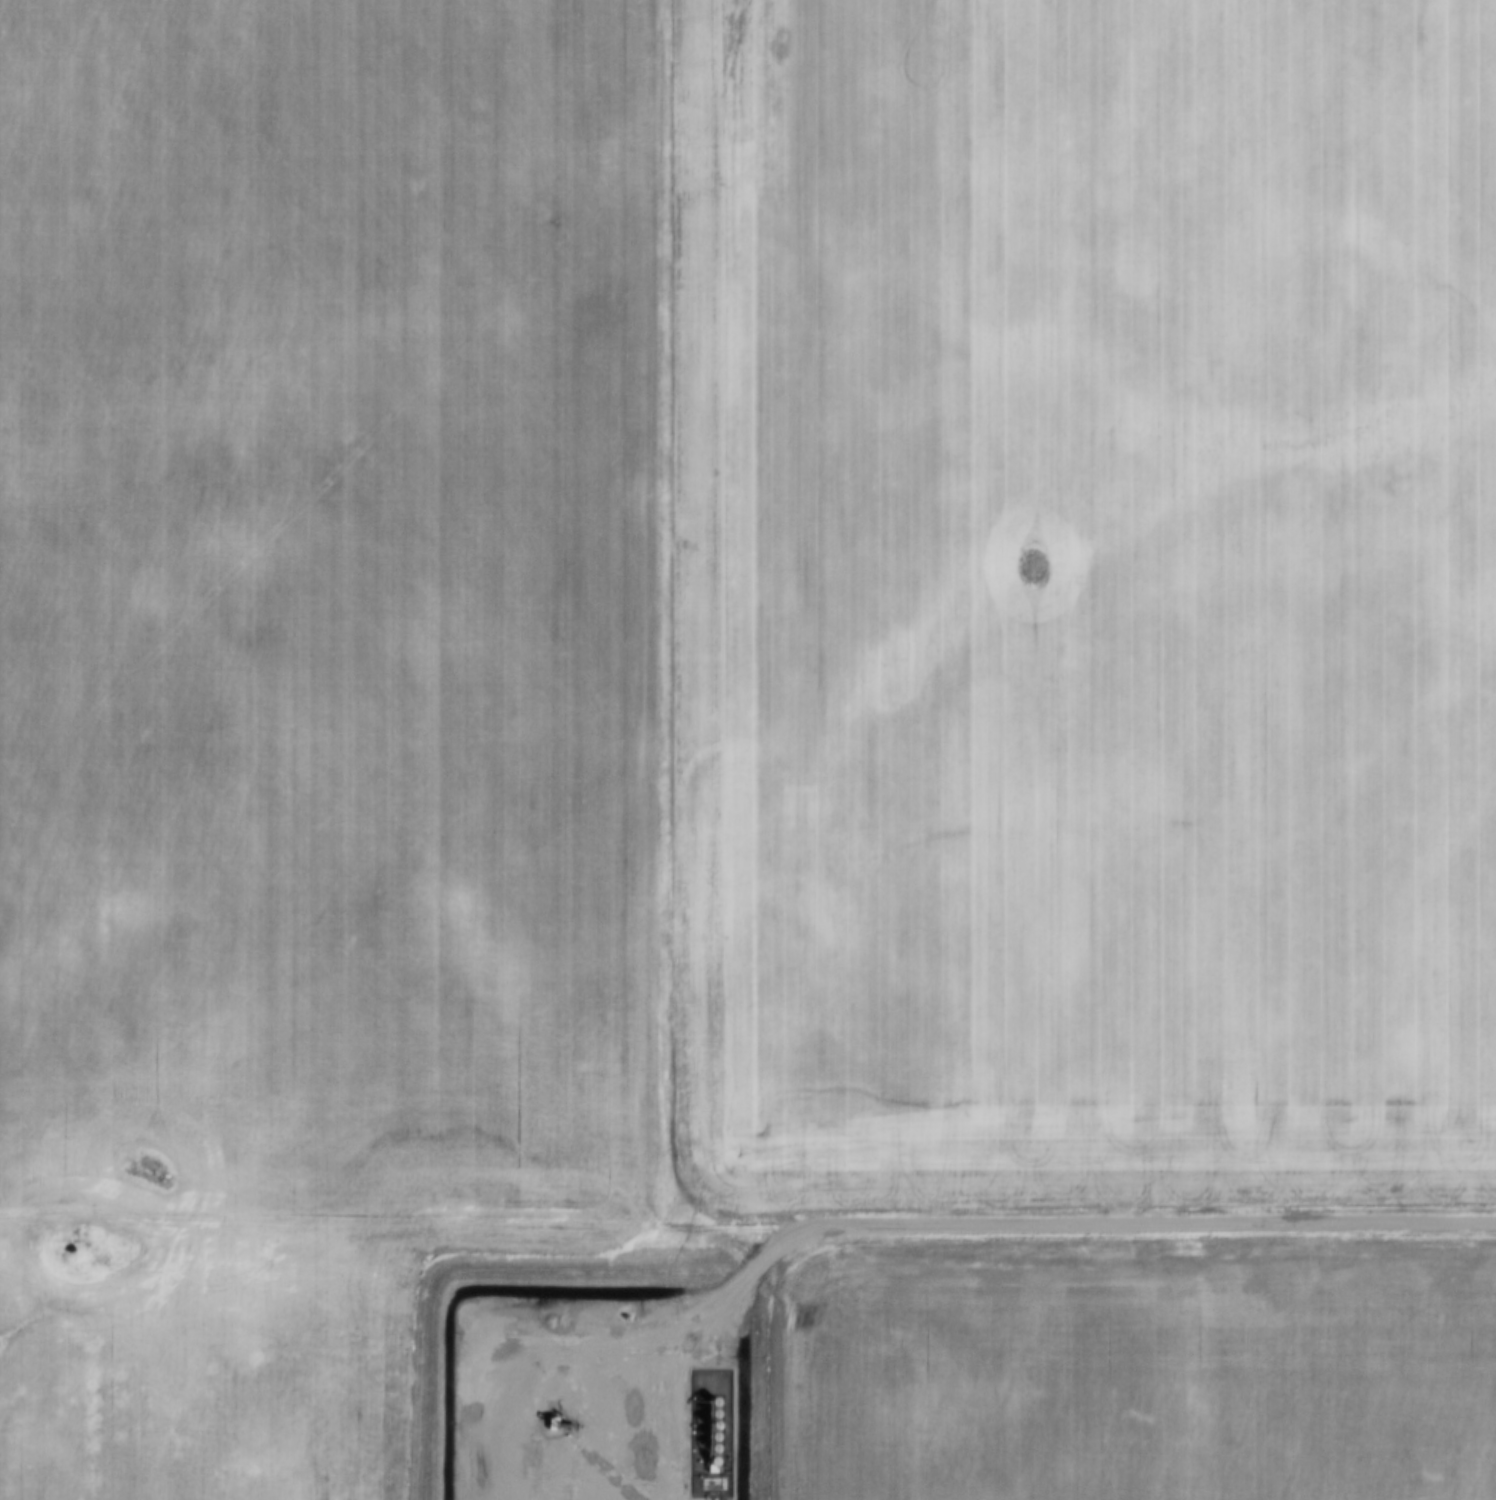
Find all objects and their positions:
road: (744, 1227)

